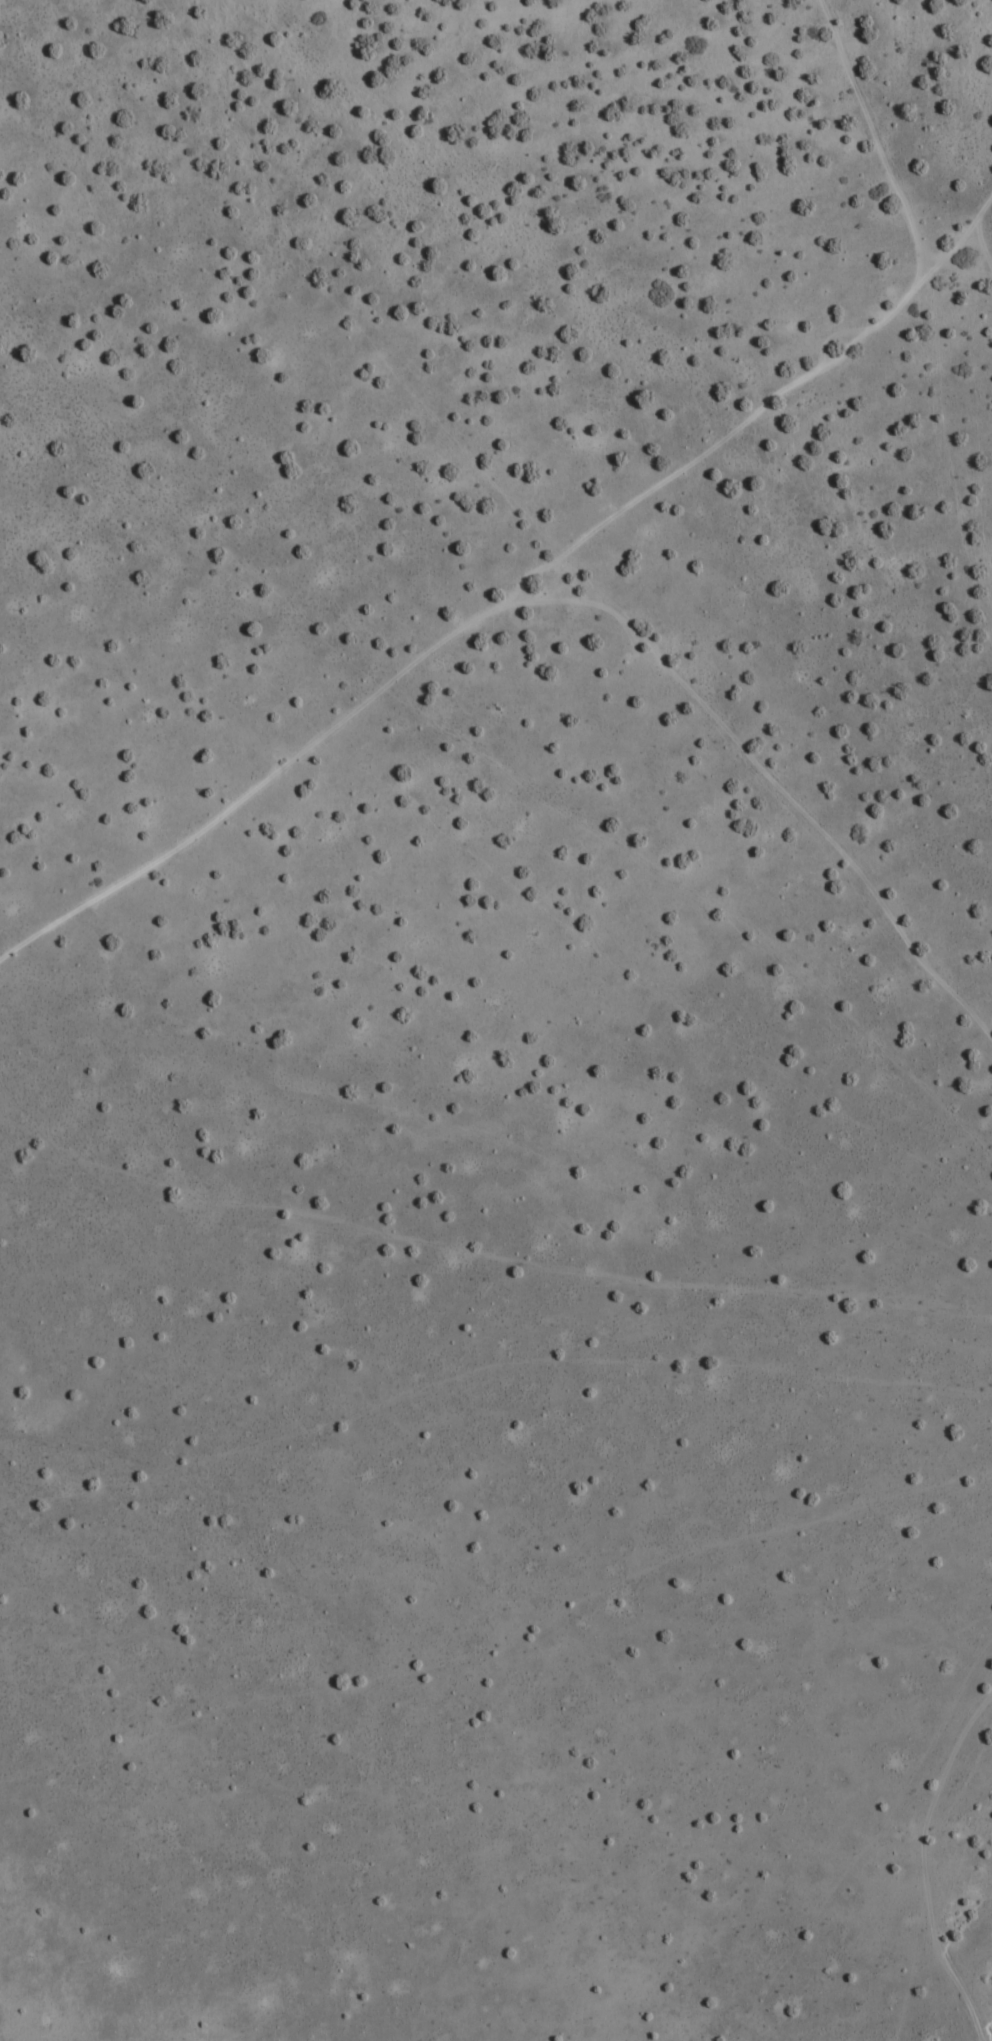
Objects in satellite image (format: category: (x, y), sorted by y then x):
road: (840, 143)
road: (519, 597)
road: (925, 1869)

